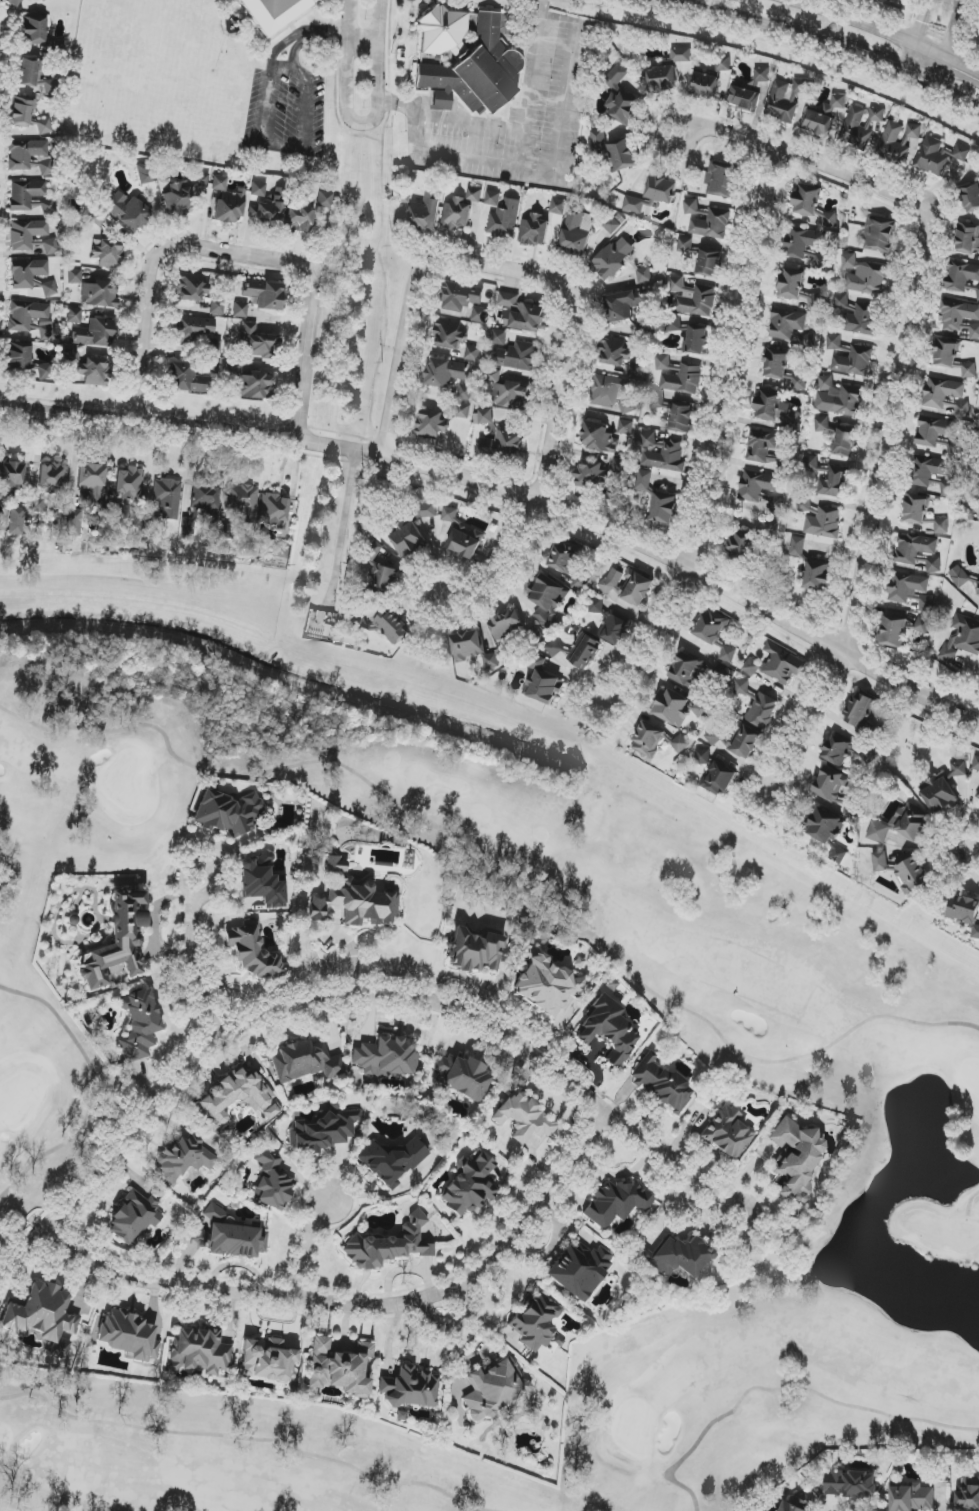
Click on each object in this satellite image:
building: (892, 0)
building: (13, 2)
building: (273, 13)
road: (350, 17)
road: (379, 20)
road: (558, 21)
building: (34, 29)
road: (327, 31)
road: (888, 33)
road: (348, 36)
road: (817, 38)
road: (915, 39)
road: (363, 40)
road: (287, 41)
road: (949, 48)
building: (681, 55)
building: (466, 61)
building: (723, 63)
road: (378, 70)
building: (34, 77)
building: (662, 78)
road: (530, 82)
building: (704, 86)
building: (747, 90)
building: (621, 97)
road: (308, 98)
road: (565, 98)
building: (785, 99)
road: (268, 103)
road: (344, 107)
parking lot: (286, 109)
building: (21, 111)
building: (823, 115)
building: (877, 115)
road: (450, 116)
building: (43, 126)
building: (856, 128)
road: (414, 129)
building: (912, 132)
building: (894, 143)
building: (616, 151)
building: (938, 156)
building: (29, 157)
road: (484, 160)
road: (805, 165)
building: (144, 174)
building: (201, 179)
building: (721, 181)
building: (661, 190)
building: (25, 194)
building: (493, 198)
building: (324, 199)
building: (177, 200)
building: (228, 201)
building: (633, 205)
building: (812, 205)
building: (45, 206)
building: (265, 206)
building: (558, 207)
building: (691, 207)
building: (461, 210)
building: (128, 211)
building: (426, 212)
building: (299, 213)
building: (99, 218)
building: (504, 220)
building: (711, 224)
building: (611, 225)
building: (534, 230)
building: (576, 233)
building: (26, 234)
building: (878, 234)
building: (967, 239)
building: (802, 241)
building: (684, 245)
building: (50, 246)
building: (612, 259)
building: (709, 264)
road: (239, 267)
building: (27, 273)
building: (644, 275)
building: (74, 276)
building: (864, 276)
building: (962, 279)
building: (677, 284)
building: (191, 287)
building: (797, 287)
building: (49, 289)
building: (100, 294)
building: (265, 294)
building: (461, 297)
building: (699, 301)
building: (623, 305)
building: (217, 306)
road: (583, 309)
building: (240, 310)
building: (479, 314)
building: (522, 314)
building: (74, 315)
building: (957, 315)
building: (856, 316)
building: (31, 318)
building: (787, 323)
building: (192, 329)
building: (974, 332)
building: (93, 334)
building: (449, 335)
building: (498, 337)
building: (696, 339)
building: (257, 342)
building: (807, 342)
building: (834, 342)
building: (472, 353)
building: (614, 353)
building: (18, 356)
building: (72, 356)
building: (518, 356)
building: (951, 358)
building: (775, 362)
building: (853, 362)
building: (637, 370)
building: (47, 371)
building: (95, 372)
building: (445, 372)
building: (490, 376)
building: (678, 376)
building: (186, 378)
building: (798, 382)
building: (255, 386)
building: (608, 390)
building: (465, 392)
building: (511, 395)
building: (945, 397)
building: (838, 398)
building: (657, 401)
building: (627, 406)
building: (775, 409)
building: (462, 411)
building: (485, 416)
building: (681, 420)
building: (431, 424)
building: (821, 424)
building: (625, 427)
building: (936, 435)
building: (597, 436)
building: (844, 444)
building: (503, 445)
road: (724, 450)
building: (764, 450)
building: (661, 453)
building: (619, 466)
building: (928, 470)
building: (10, 475)
building: (590, 475)
building: (53, 476)
building: (643, 480)
building: (92, 482)
building: (835, 482)
building: (129, 484)
building: (762, 490)
building: (976, 494)
building: (167, 497)
building: (205, 497)
road: (512, 497)
building: (243, 500)
building: (37, 504)
building: (803, 504)
building: (663, 508)
building: (274, 509)
building: (915, 509)
building: (424, 511)
building: (450, 514)
road: (345, 519)
building: (17, 521)
building: (74, 522)
road: (879, 522)
building: (824, 523)
building: (941, 526)
building: (187, 527)
building: (771, 529)
building: (409, 539)
building: (465, 540)
building: (797, 546)
building: (914, 548)
building: (280, 550)
building: (564, 557)
building: (933, 565)
building: (817, 575)
building: (959, 577)
building: (385, 578)
building: (580, 582)
building: (611, 582)
building: (977, 586)
building: (636, 588)
building: (906, 588)
building: (547, 600)
building: (926, 604)
building: (596, 606)
building: (506, 624)
building: (923, 625)
building: (392, 626)
building: (711, 627)
building: (614, 629)
building: (893, 631)
building: (962, 639)
building: (466, 645)
building: (554, 648)
building: (584, 651)
building: (728, 654)
building: (491, 661)
building: (781, 664)
building: (751, 667)
building: (687, 670)
building: (543, 683)
building: (741, 687)
building: (672, 708)
building: (859, 710)
building: (762, 711)
building: (714, 736)
building: (656, 741)
building: (746, 742)
building: (837, 750)
building: (703, 757)
building: (976, 763)
building: (958, 769)
building: (718, 780)
building: (831, 784)
building: (938, 794)
building: (978, 796)
building: (849, 807)
building: (227, 812)
building: (901, 824)
building: (827, 831)
building: (880, 861)
road: (975, 862)
building: (336, 865)
building: (911, 874)
building: (261, 881)
building: (363, 903)
building: (316, 907)
road: (193, 911)
building: (965, 912)
building: (118, 939)
building: (474, 950)
building: (251, 951)
building: (545, 984)
road: (337, 995)
park: (820, 1019)
building: (139, 1025)
building: (609, 1030)
building: (387, 1057)
building: (305, 1062)
building: (461, 1076)
building: (660, 1083)
building: (239, 1096)
building: (523, 1118)
building: (323, 1131)
building: (727, 1132)
building: (182, 1158)
building: (796, 1159)
building: (392, 1161)
building: (271, 1181)
building: (469, 1185)
building: (616, 1203)
building: (134, 1218)
road: (750, 1229)
building: (230, 1236)
building: (389, 1245)
road: (306, 1250)
building: (678, 1257)
building: (579, 1270)
road: (358, 1304)
building: (41, 1313)
building: (536, 1321)
road: (454, 1330)
building: (129, 1335)
building: (199, 1351)
building: (267, 1360)
building: (340, 1368)
building: (495, 1387)
building: (410, 1388)
building: (850, 1484)
building: (968, 1494)
building: (911, 1498)
building: (795, 1504)

